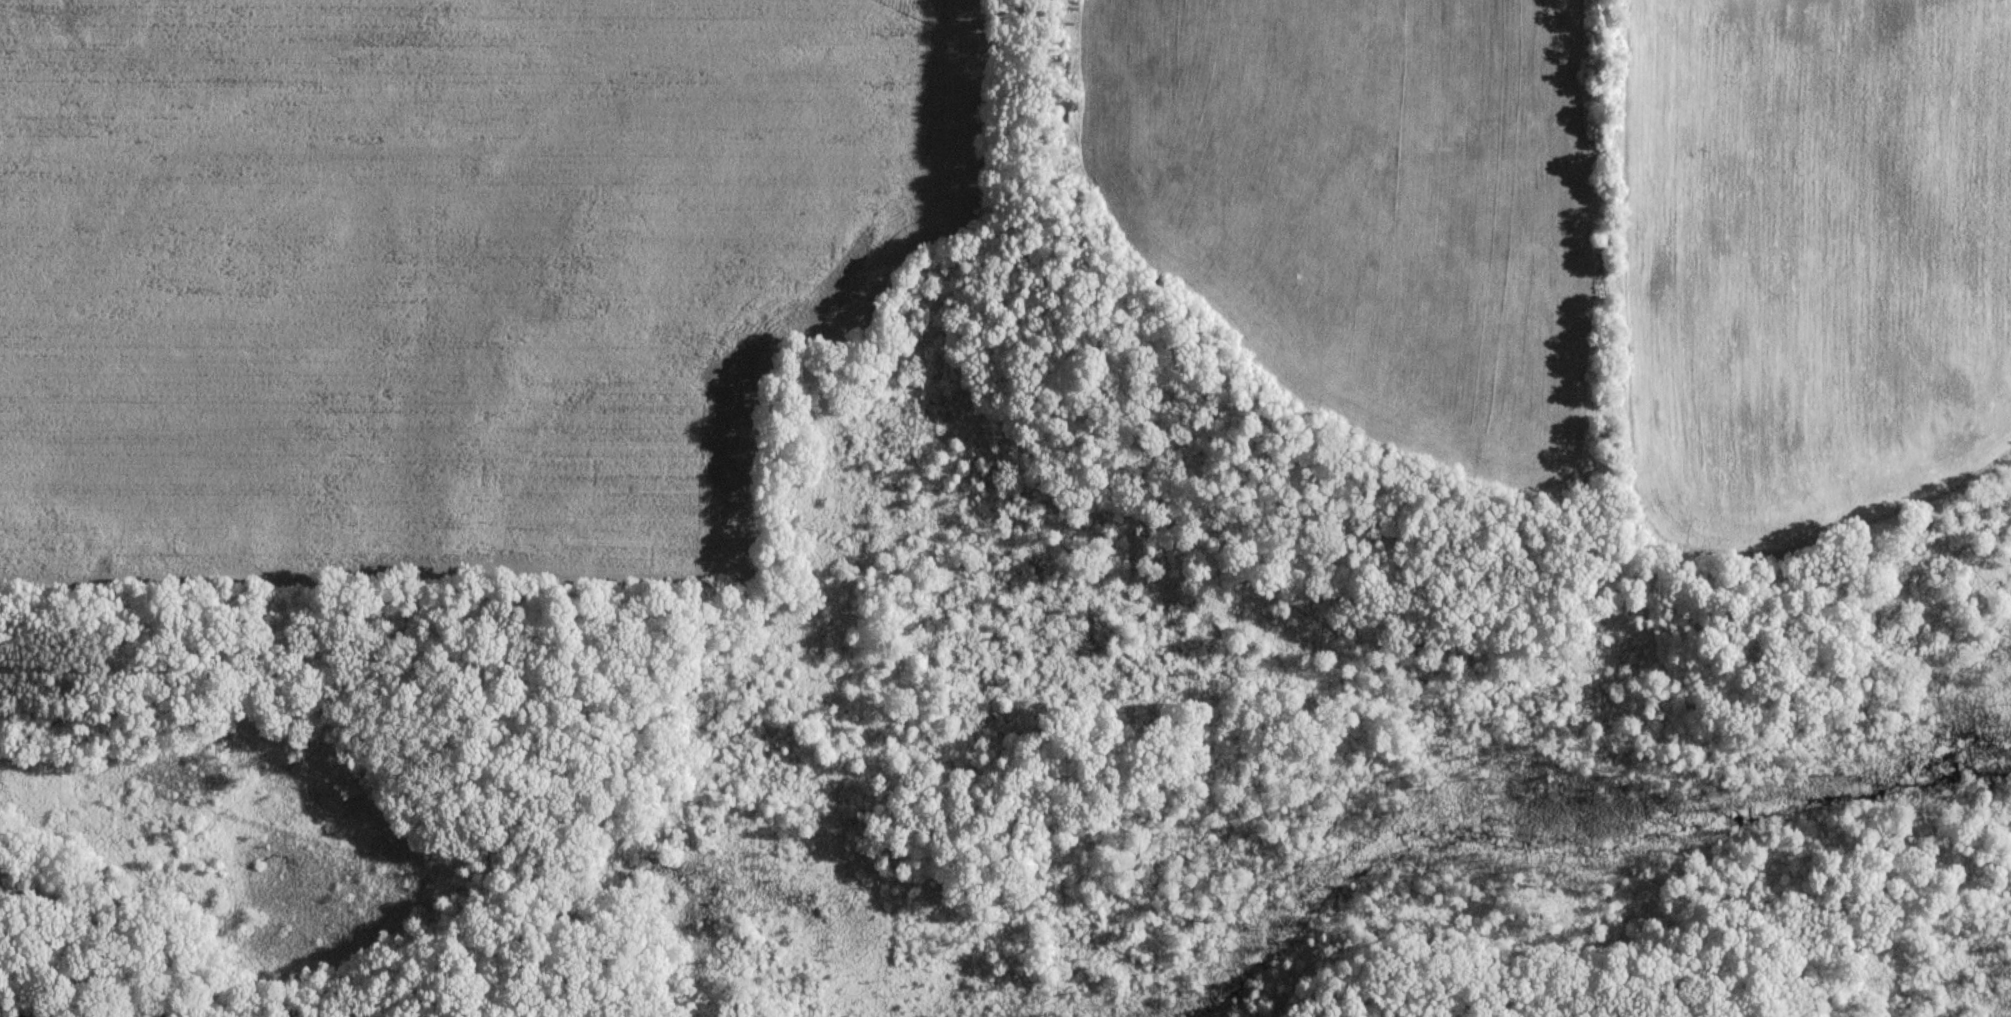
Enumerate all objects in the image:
road: (125, 921)

